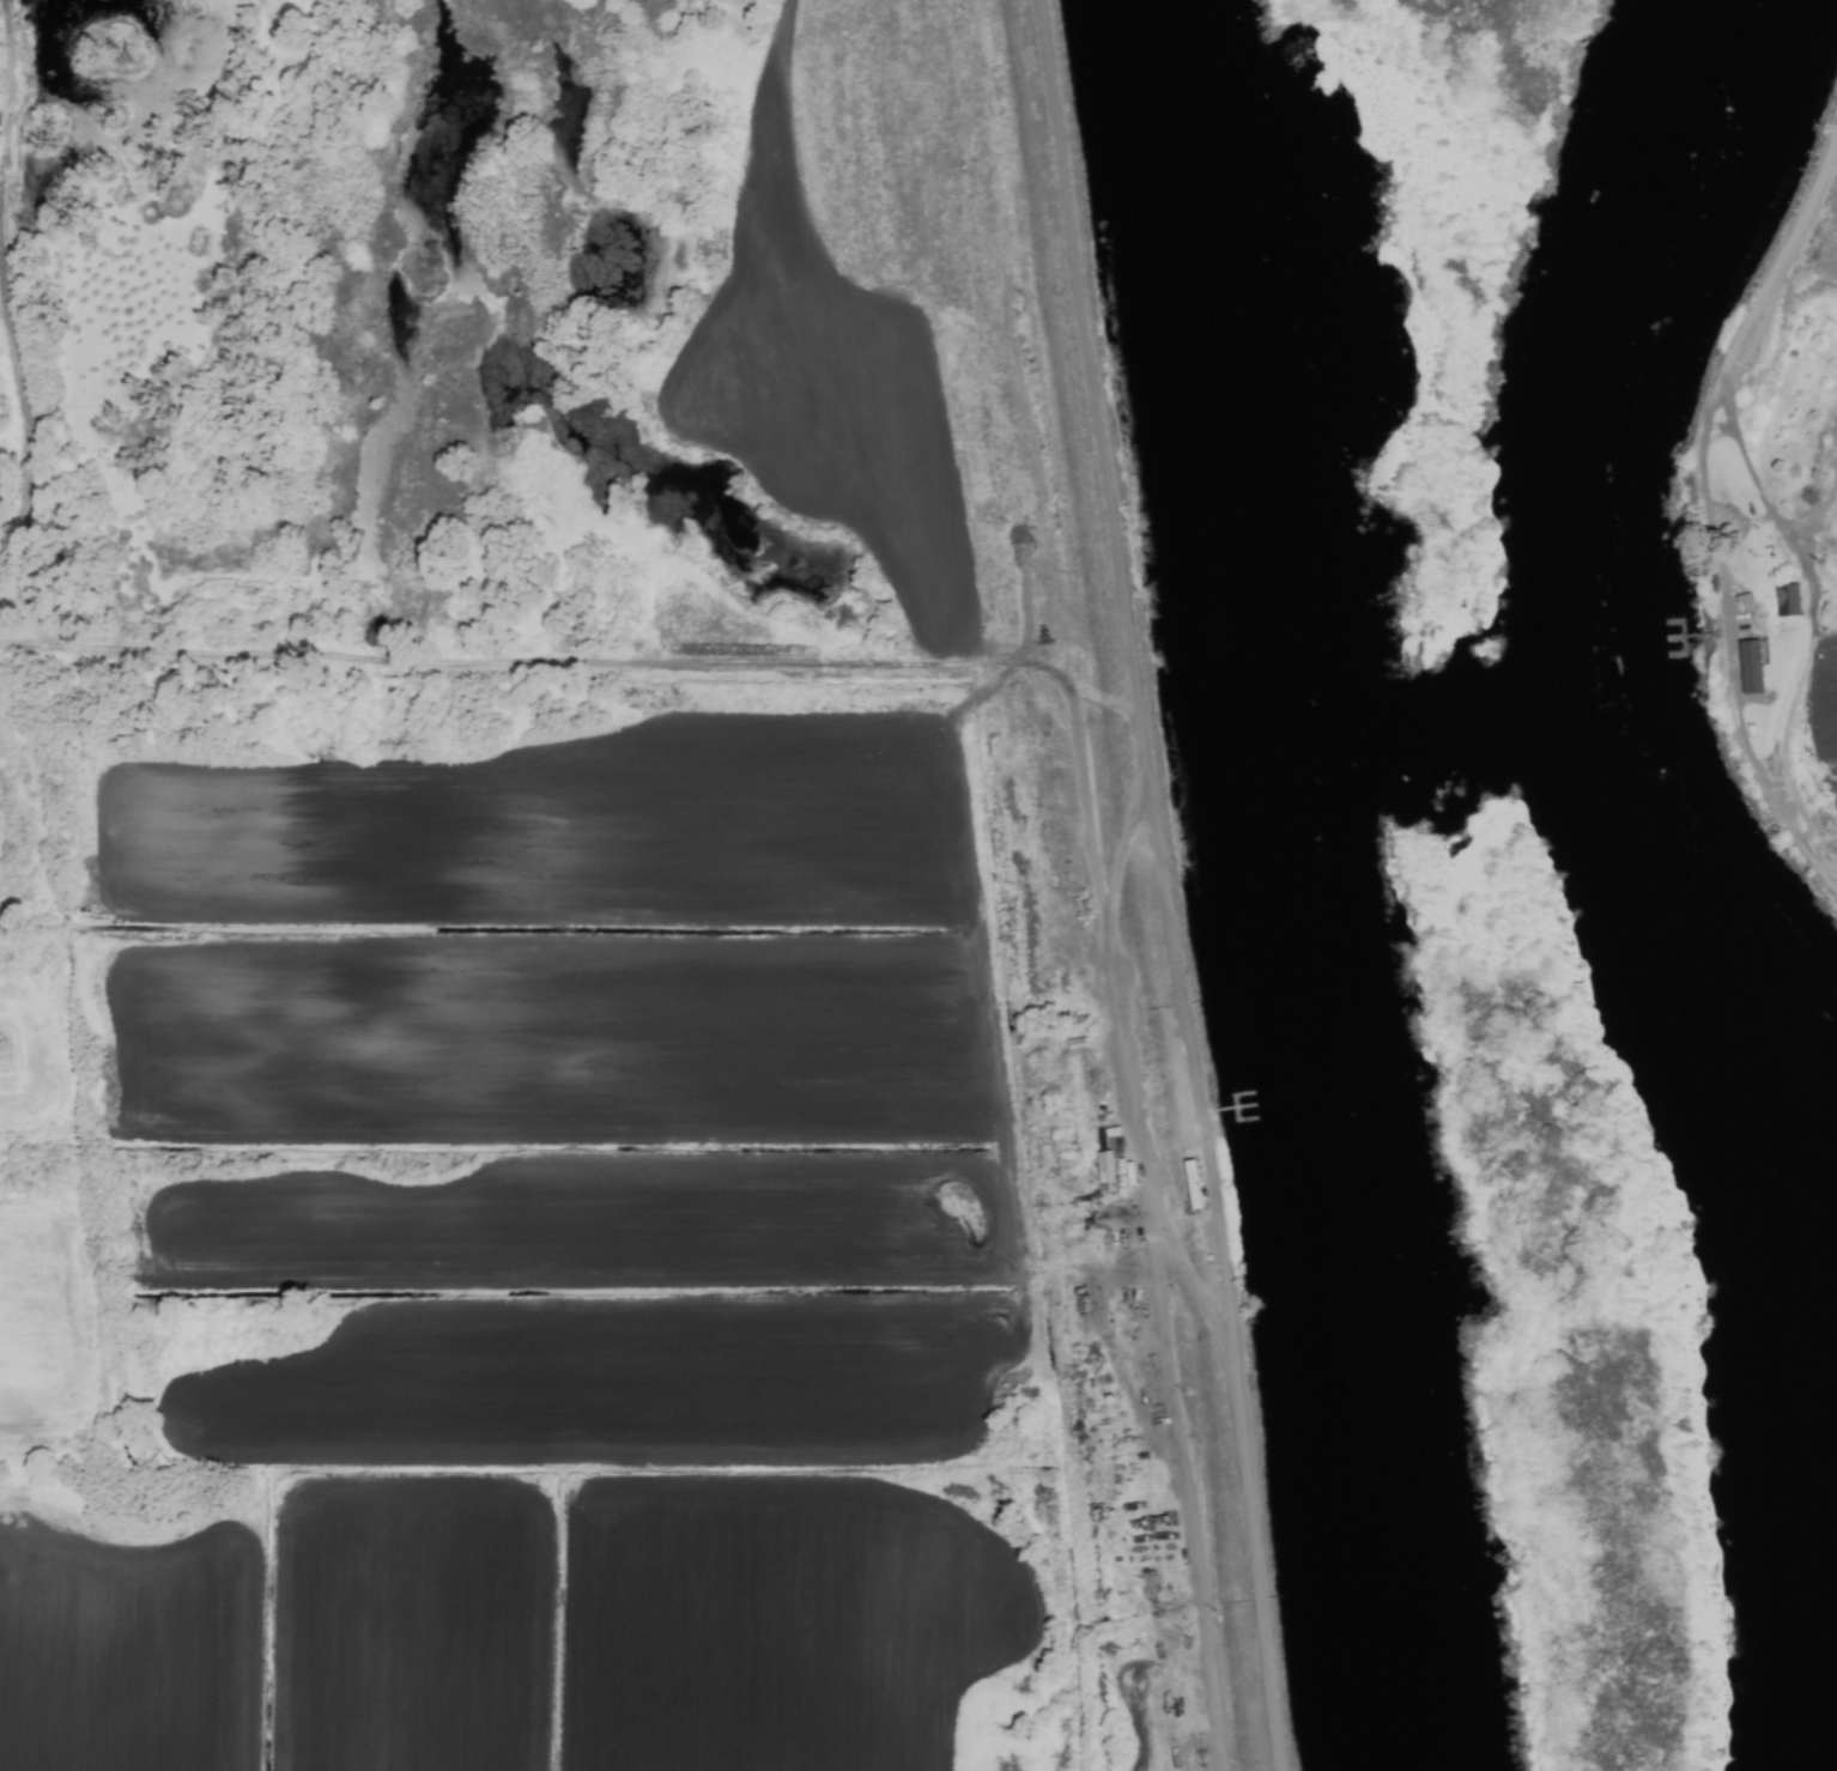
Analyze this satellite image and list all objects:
crop: (1808, 582)
building: (1784, 602)
building: (1747, 668)
road: (1138, 885)
crop: (592, 916)
road: (1099, 1047)
road: (1170, 1500)

